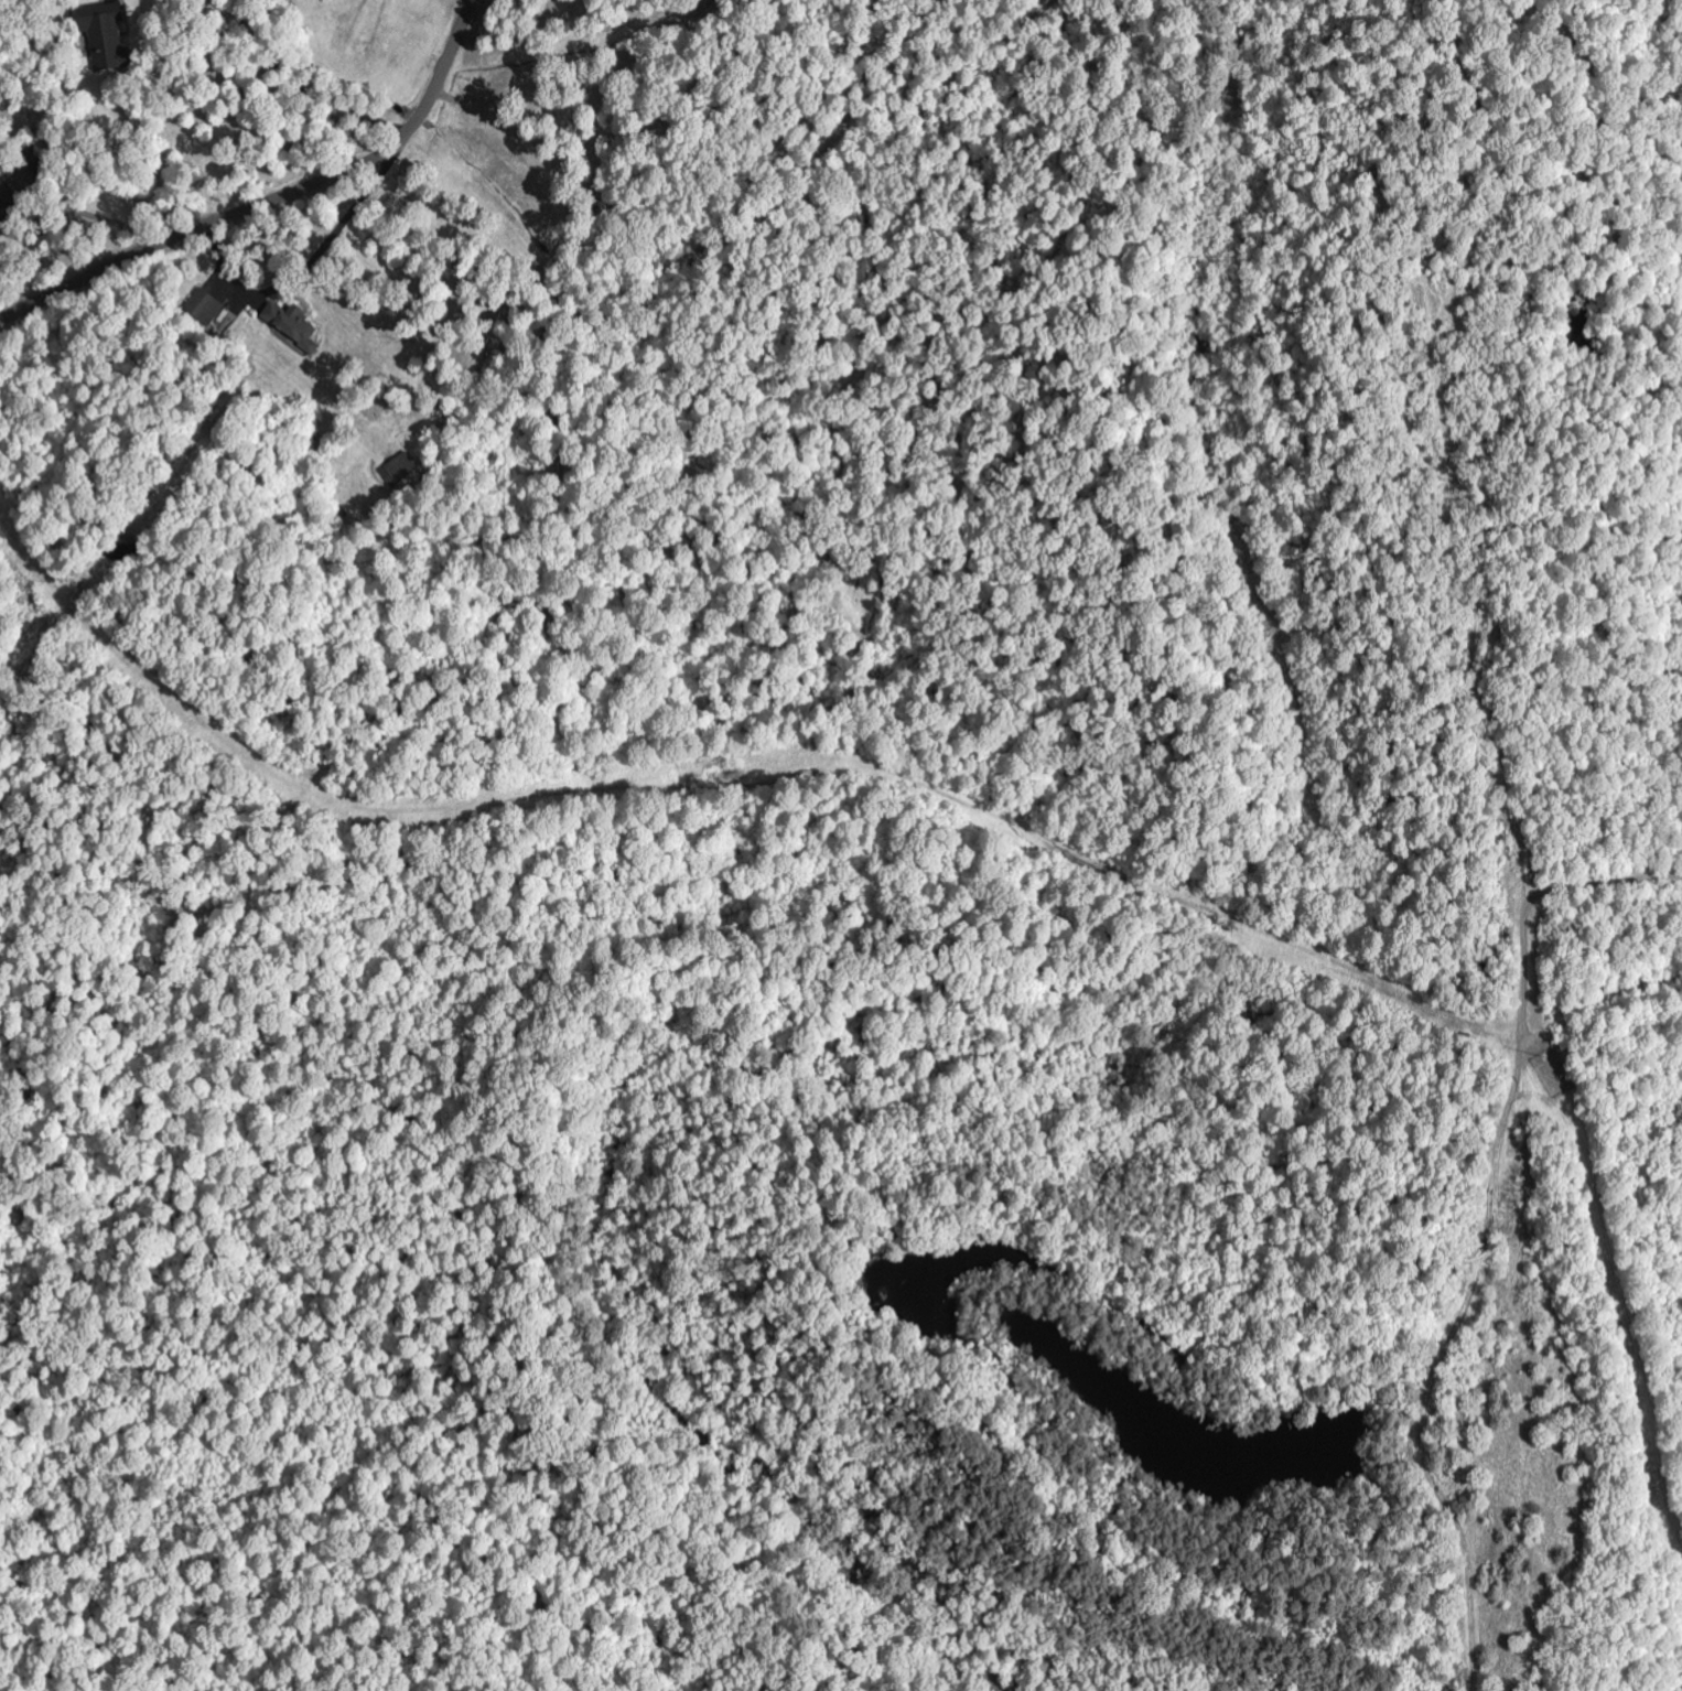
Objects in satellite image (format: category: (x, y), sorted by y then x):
building: (105, 41)
building: (8, 202)
road: (273, 202)
building: (213, 312)
building: (292, 326)
building: (399, 470)

